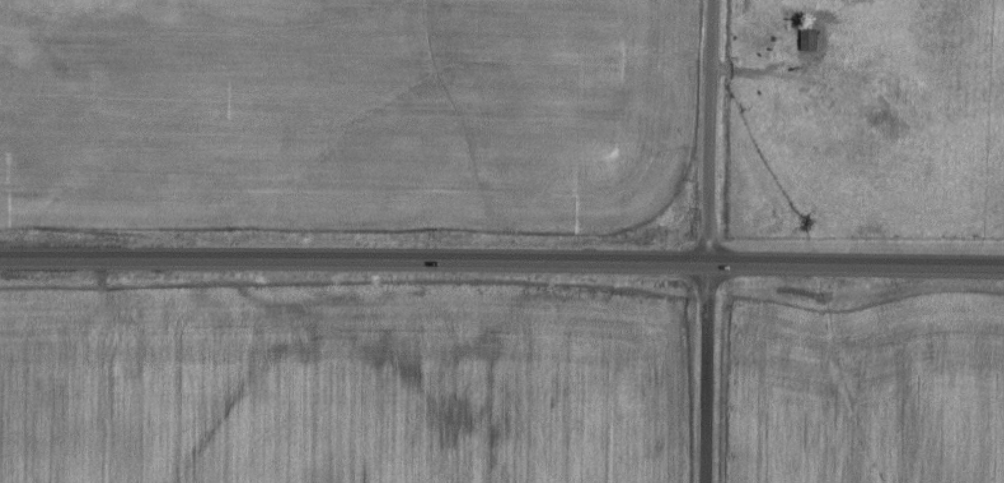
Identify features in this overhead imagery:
building: (809, 40)
road: (711, 129)
road: (354, 256)
road: (856, 260)
road: (707, 371)

